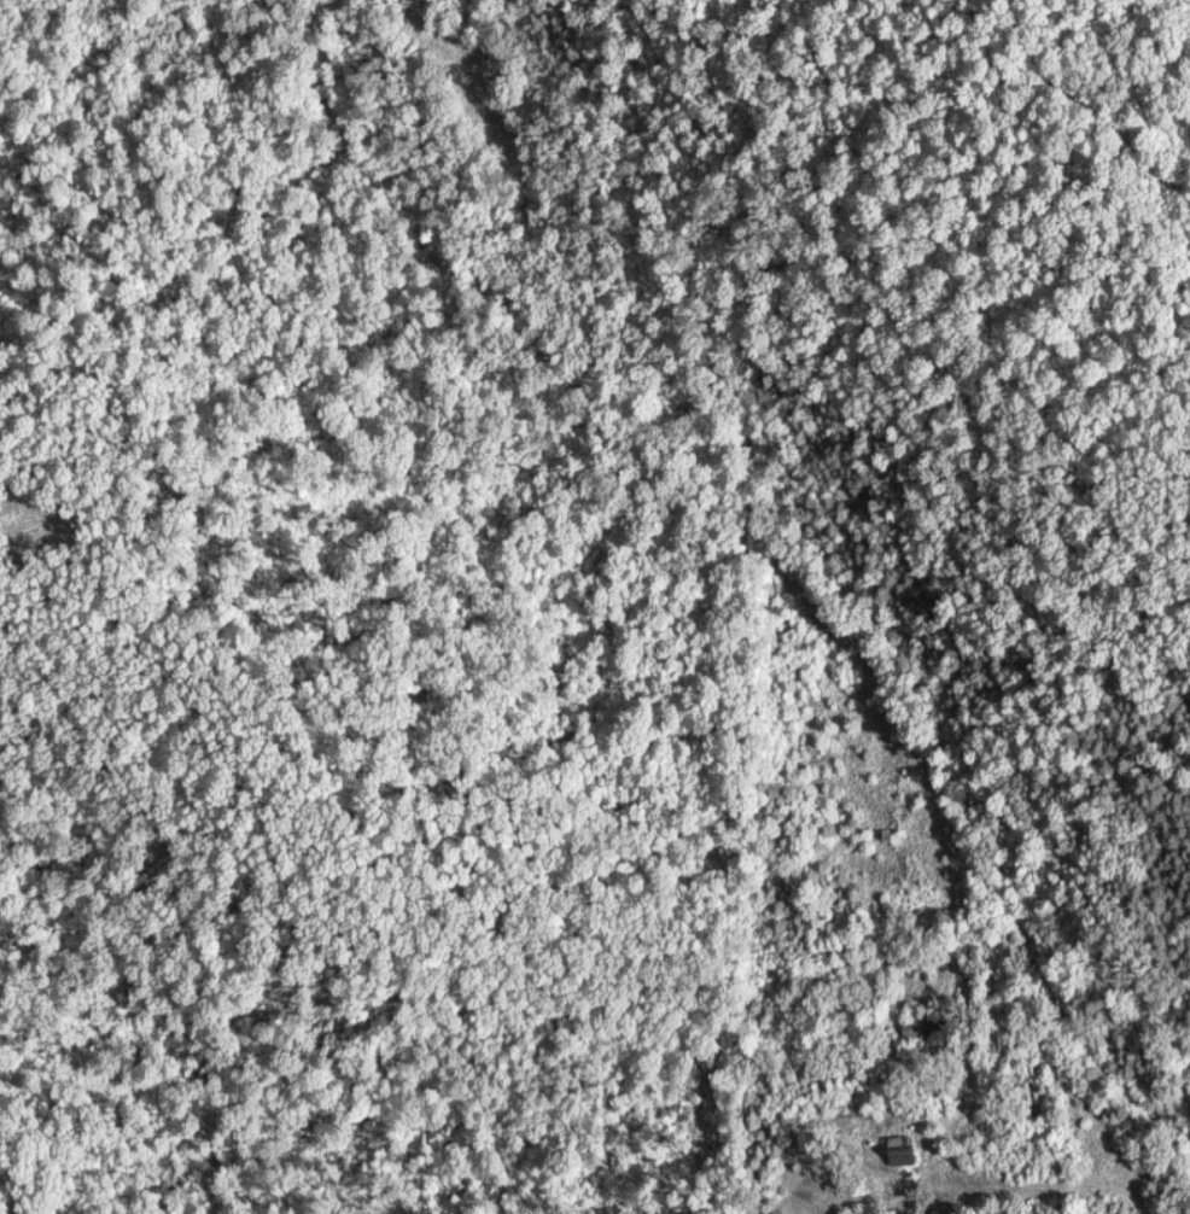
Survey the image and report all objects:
building: (926, 1027)

